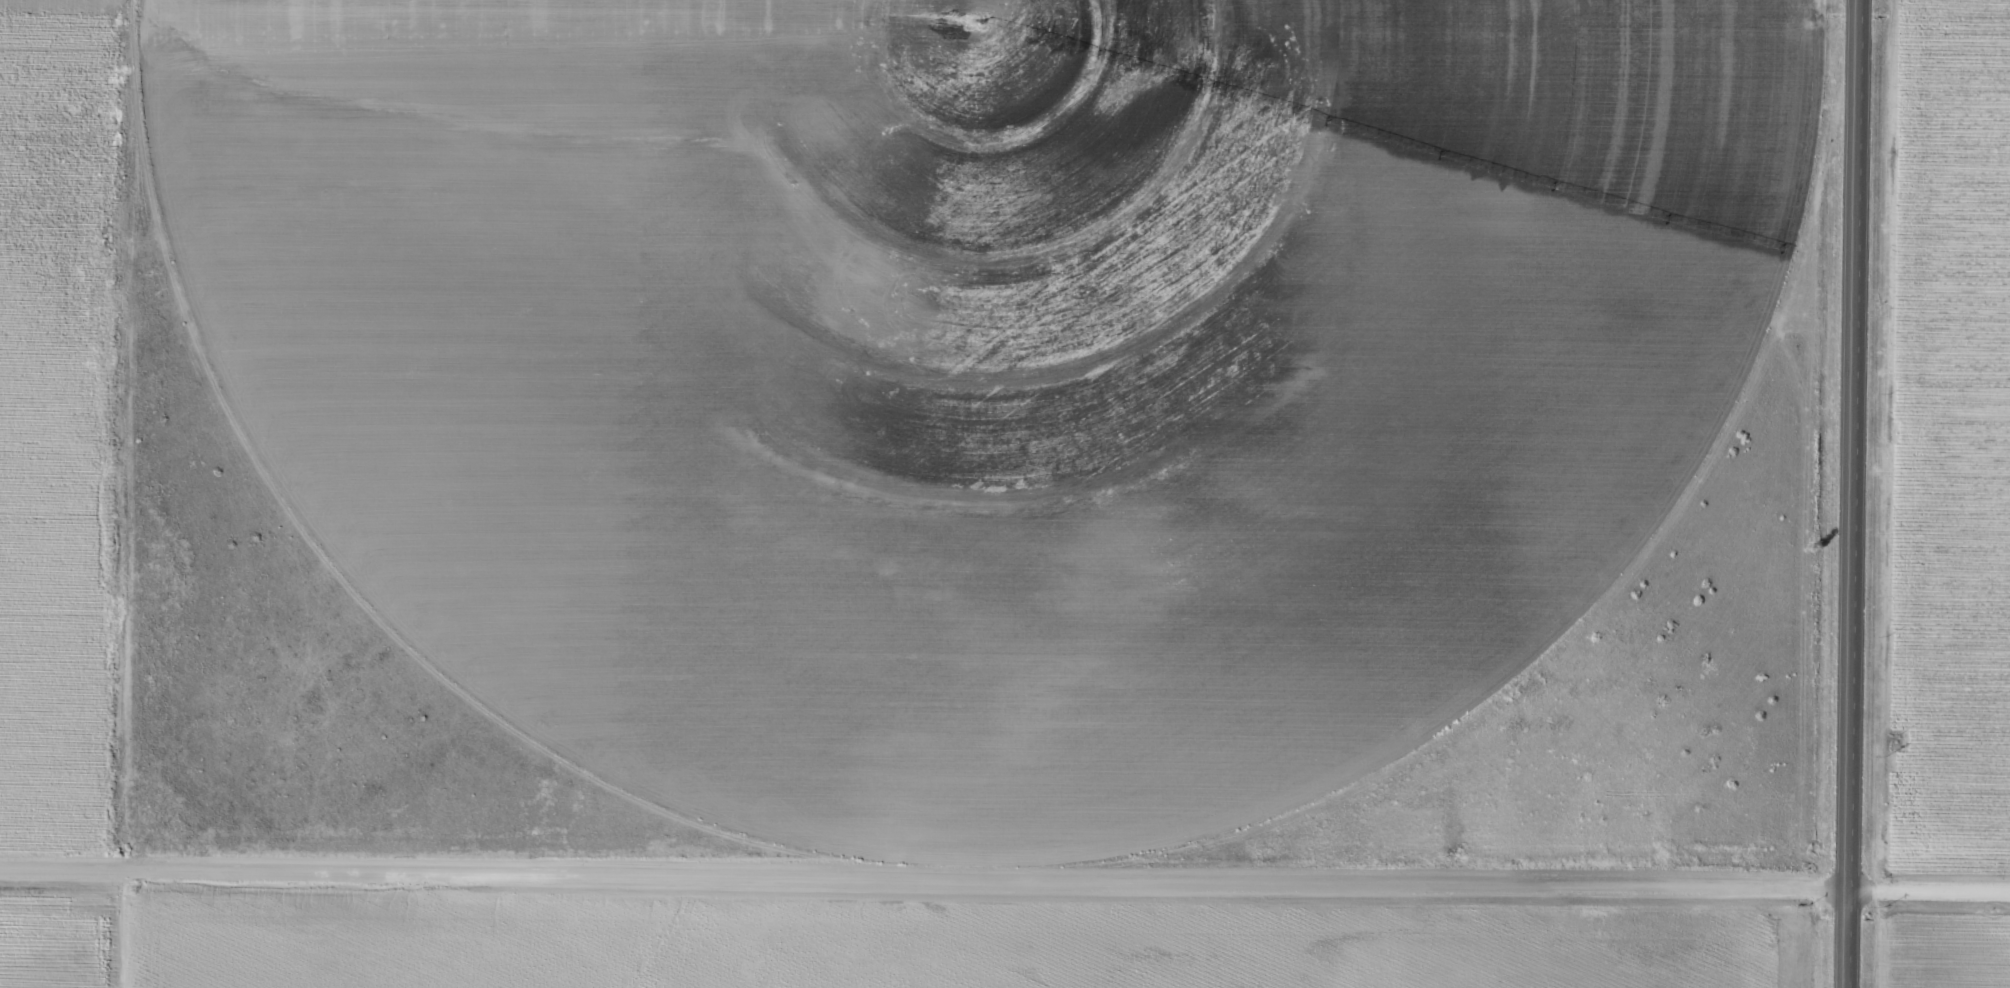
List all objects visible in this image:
road: (1865, 493)
road: (159, 494)
road: (930, 881)
road: (1935, 898)

